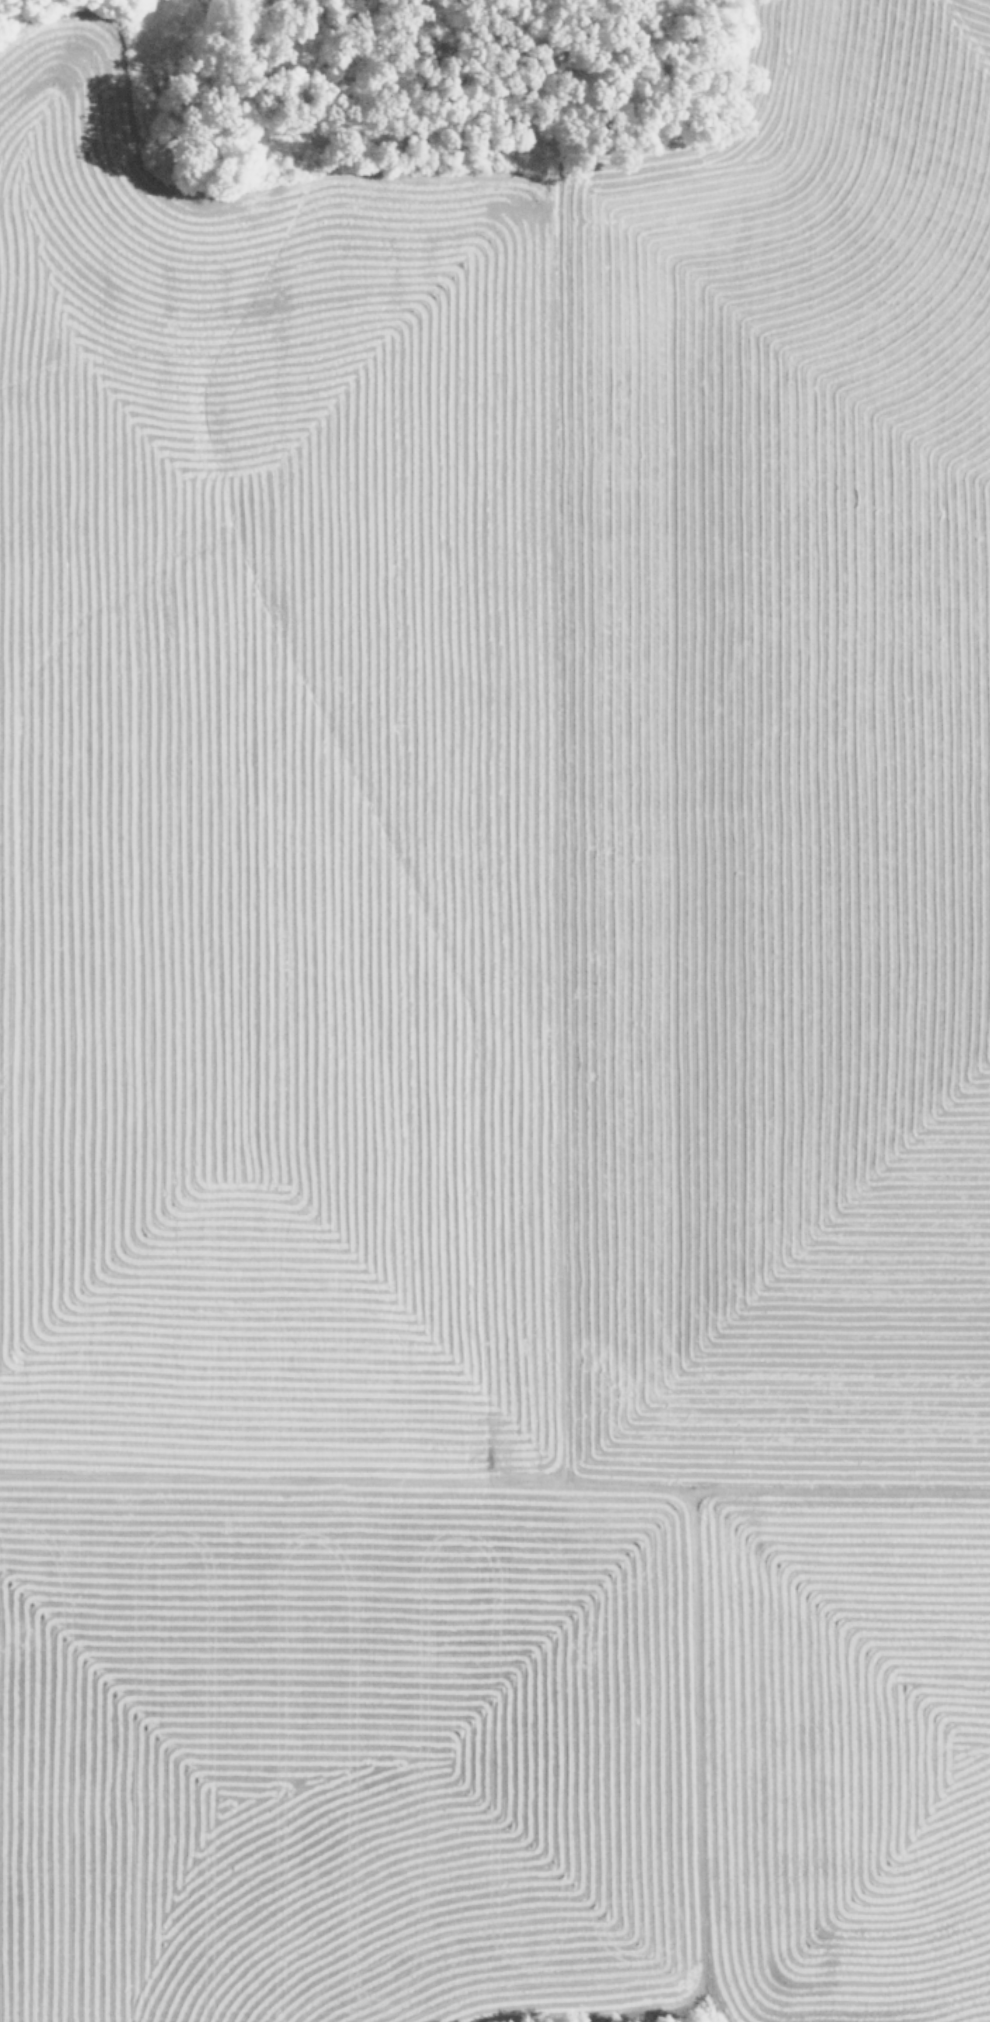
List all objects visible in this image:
crop: (500, 1054)

